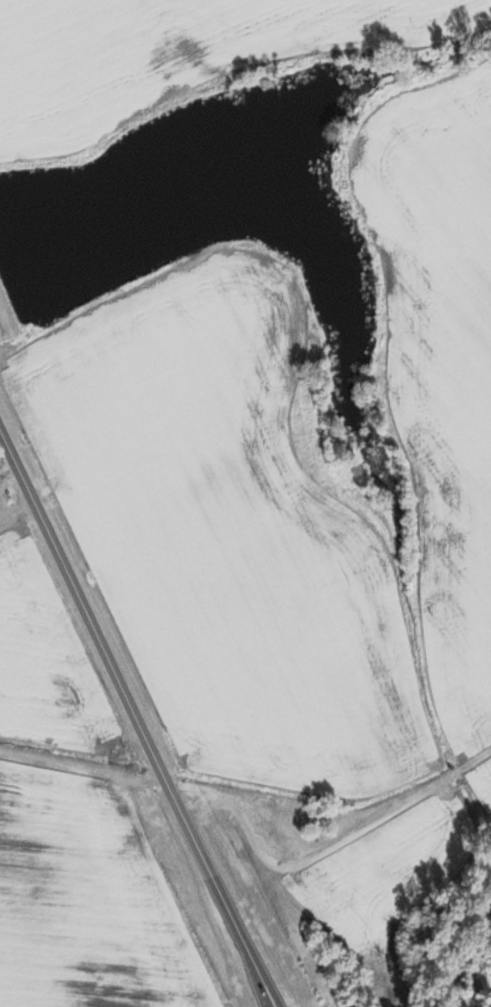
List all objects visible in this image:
road: (136, 717)
road: (358, 828)

